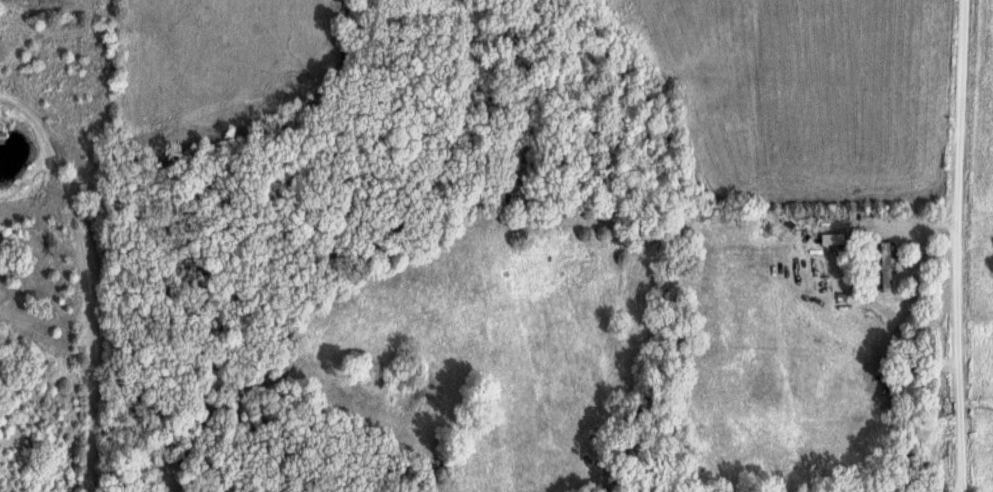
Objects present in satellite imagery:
road: (963, 245)
building: (888, 265)
road: (93, 278)

